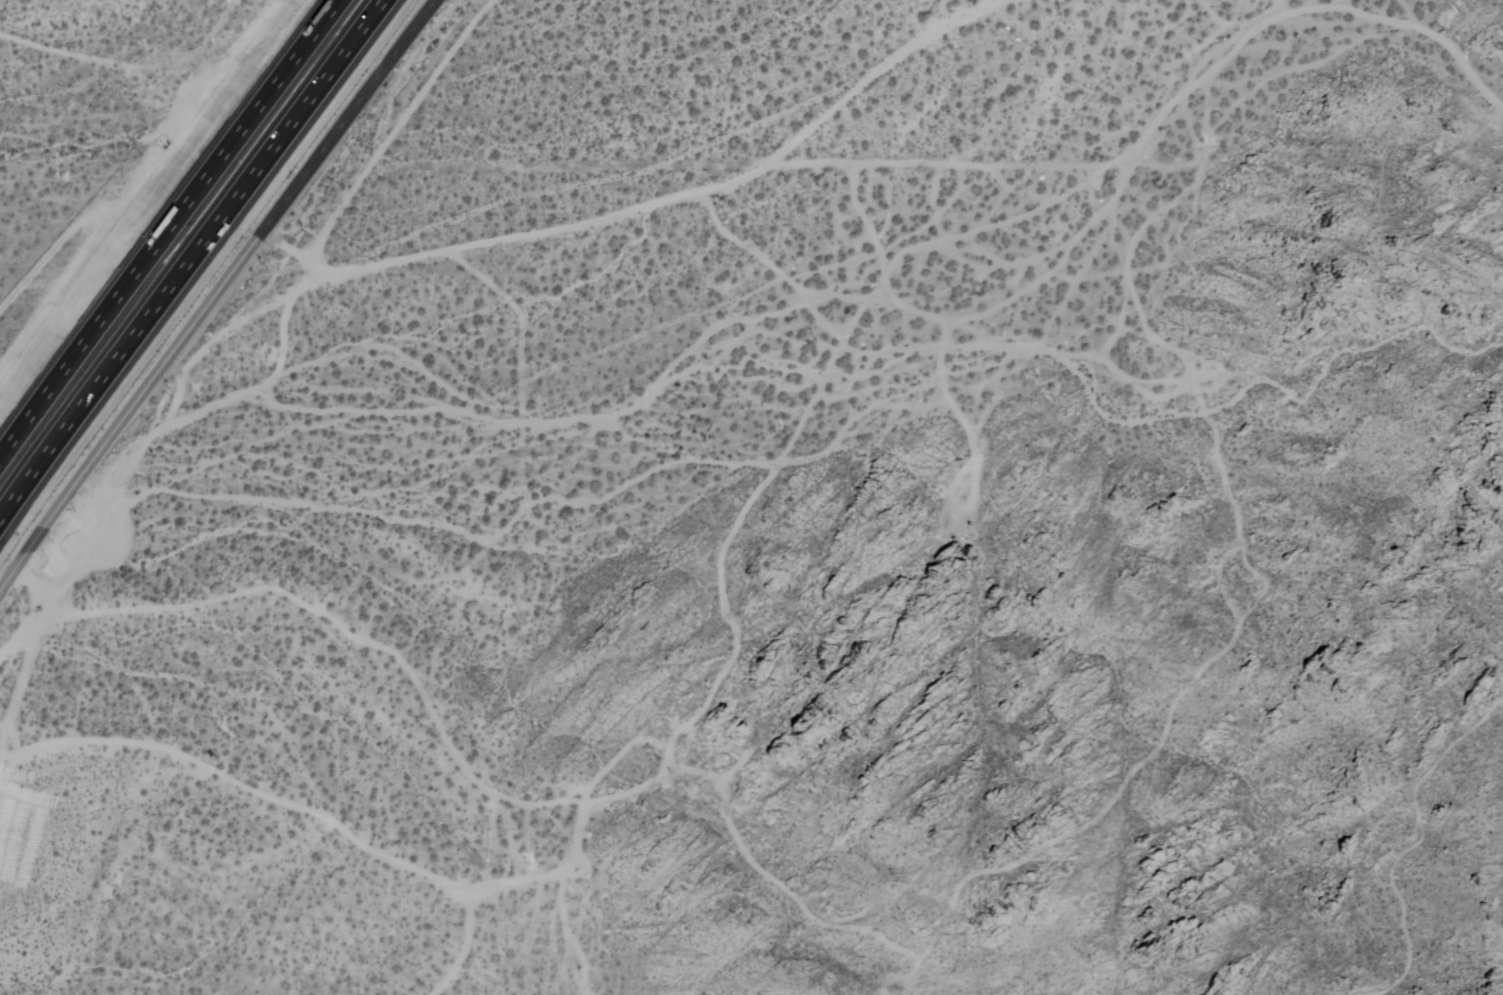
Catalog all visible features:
road: (169, 232)
railway: (180, 243)
road: (193, 266)
road: (216, 294)

